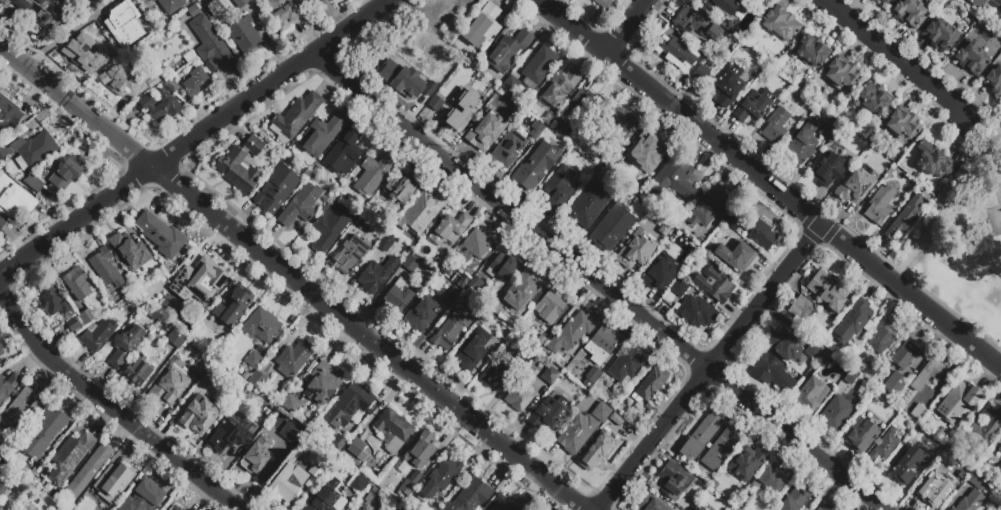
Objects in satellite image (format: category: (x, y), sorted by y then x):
building: (300, 0)
building: (744, 0)
building: (876, 1)
building: (882, 1)
building: (886, 2)
building: (240, 3)
building: (312, 4)
building: (602, 4)
building: (975, 4)
building: (170, 5)
building: (721, 5)
building: (34, 10)
building: (214, 10)
building: (283, 13)
building: (909, 13)
building: (781, 23)
building: (123, 24)
building: (696, 24)
building: (483, 26)
road: (626, 26)
road: (68, 33)
building: (939, 35)
building: (246, 37)
building: (210, 46)
building: (95, 48)
building: (508, 51)
building: (811, 52)
building: (677, 53)
building: (432, 54)
road: (898, 58)
building: (972, 59)
building: (538, 67)
building: (701, 72)
building: (757, 74)
building: (841, 75)
building: (402, 79)
building: (994, 81)
building: (195, 83)
building: (123, 85)
building: (171, 85)
building: (510, 86)
building: (560, 87)
building: (726, 87)
building: (781, 96)
building: (439, 98)
building: (873, 99)
building: (581, 102)
building: (160, 105)
building: (464, 105)
building: (754, 105)
building: (512, 108)
building: (9, 114)
building: (295, 118)
building: (548, 119)
building: (902, 125)
building: (775, 126)
building: (558, 127)
building: (484, 128)
building: (615, 128)
road: (983, 128)
building: (536, 130)
building: (827, 133)
building: (324, 134)
road: (195, 136)
building: (803, 143)
building: (858, 147)
building: (510, 148)
building: (33, 150)
building: (344, 153)
building: (3, 154)
building: (643, 156)
building: (614, 157)
building: (934, 161)
building: (241, 165)
building: (537, 165)
building: (828, 169)
building: (374, 174)
building: (64, 177)
building: (677, 180)
road: (769, 182)
building: (34, 184)
building: (854, 186)
building: (560, 187)
building: (277, 189)
building: (399, 190)
building: (14, 197)
building: (300, 205)
building: (587, 205)
building: (707, 206)
building: (879, 206)
road: (947, 208)
road: (986, 210)
building: (421, 213)
building: (377, 214)
park: (996, 214)
building: (904, 217)
building: (365, 224)
building: (2, 225)
building: (329, 227)
building: (613, 227)
building: (450, 230)
building: (761, 233)
building: (160, 235)
park: (963, 240)
building: (476, 244)
building: (130, 251)
building: (635, 251)
building: (350, 255)
building: (735, 256)
building: (413, 265)
building: (501, 267)
building: (106, 268)
building: (170, 269)
building: (160, 273)
building: (661, 273)
building: (377, 275)
building: (464, 275)
road: (291, 279)
building: (140, 281)
building: (198, 282)
building: (77, 283)
road: (598, 283)
building: (475, 285)
building: (714, 285)
building: (523, 290)
building: (419, 291)
building: (828, 292)
building: (398, 297)
building: (451, 297)
building: (52, 302)
building: (233, 306)
building: (550, 307)
building: (801, 309)
road: (951, 309)
building: (698, 310)
building: (420, 314)
building: (135, 315)
building: (86, 316)
building: (854, 321)
building: (73, 324)
building: (155, 324)
building: (261, 326)
building: (452, 330)
building: (572, 332)
building: (97, 335)
building: (882, 336)
building: (176, 339)
building: (500, 339)
building: (540, 344)
building: (601, 344)
building: (126, 345)
building: (783, 345)
building: (473, 351)
building: (813, 351)
building: (1, 352)
building: (905, 355)
building: (826, 356)
building: (526, 357)
building: (294, 358)
building: (253, 360)
building: (199, 367)
building: (626, 367)
road: (709, 367)
building: (138, 371)
building: (771, 371)
building: (239, 374)
building: (927, 374)
building: (592, 375)
building: (496, 376)
building: (549, 376)
building: (850, 377)
building: (258, 380)
building: (322, 382)
building: (894, 383)
building: (171, 385)
building: (649, 386)
building: (6, 387)
building: (222, 389)
building: (522, 393)
building: (812, 395)
building: (959, 403)
building: (290, 404)
building: (349, 405)
building: (21, 408)
building: (649, 409)
road: (110, 411)
building: (601, 412)
building: (918, 412)
building: (266, 414)
building: (548, 414)
building: (837, 414)
building: (199, 415)
building: (617, 424)
building: (985, 430)
building: (392, 431)
building: (292, 433)
building: (577, 433)
building: (44, 434)
building: (861, 434)
building: (228, 436)
building: (701, 436)
building: (337, 442)
building: (3, 446)
building: (884, 447)
building: (720, 449)
building: (357, 450)
building: (1000, 450)
building: (597, 451)
building: (11, 452)
building: (418, 453)
building: (257, 456)
building: (615, 456)
building: (69, 457)
building: (343, 458)
building: (746, 463)
building: (1000, 463)
building: (1000, 464)
building: (908, 465)
building: (316, 470)
building: (88, 471)
building: (416, 477)
building: (111, 479)
building: (440, 479)
building: (774, 479)
building: (979, 480)
building: (675, 481)
building: (288, 482)
building: (359, 486)
building: (724, 486)
building: (371, 487)
building: (939, 487)
building: (3, 490)
building: (405, 490)
building: (143, 496)
building: (470, 496)
building: (325, 497)
building: (372, 498)
building: (796, 498)
building: (970, 501)
building: (502, 504)
building: (650, 504)
building: (0, 507)
building: (30, 507)
building: (825, 507)
building: (175, 508)
building: (430, 508)
building: (0, 509)
building: (182, 509)
building: (354, 509)
building: (693, 509)
building: (696, 509)

